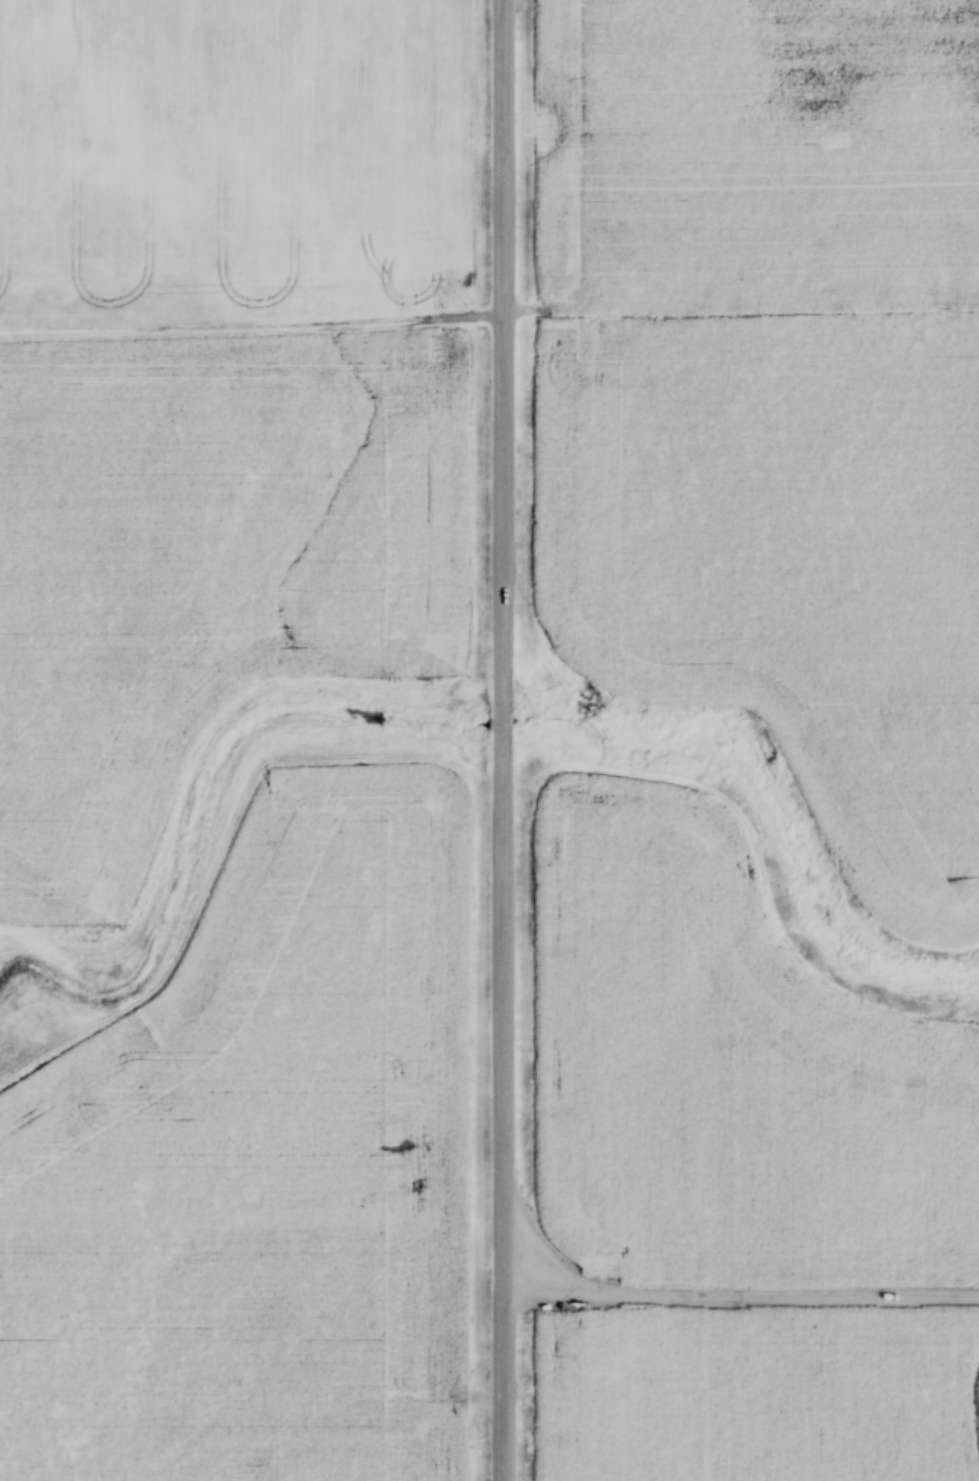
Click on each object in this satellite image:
road: (251, 322)
road: (502, 740)

